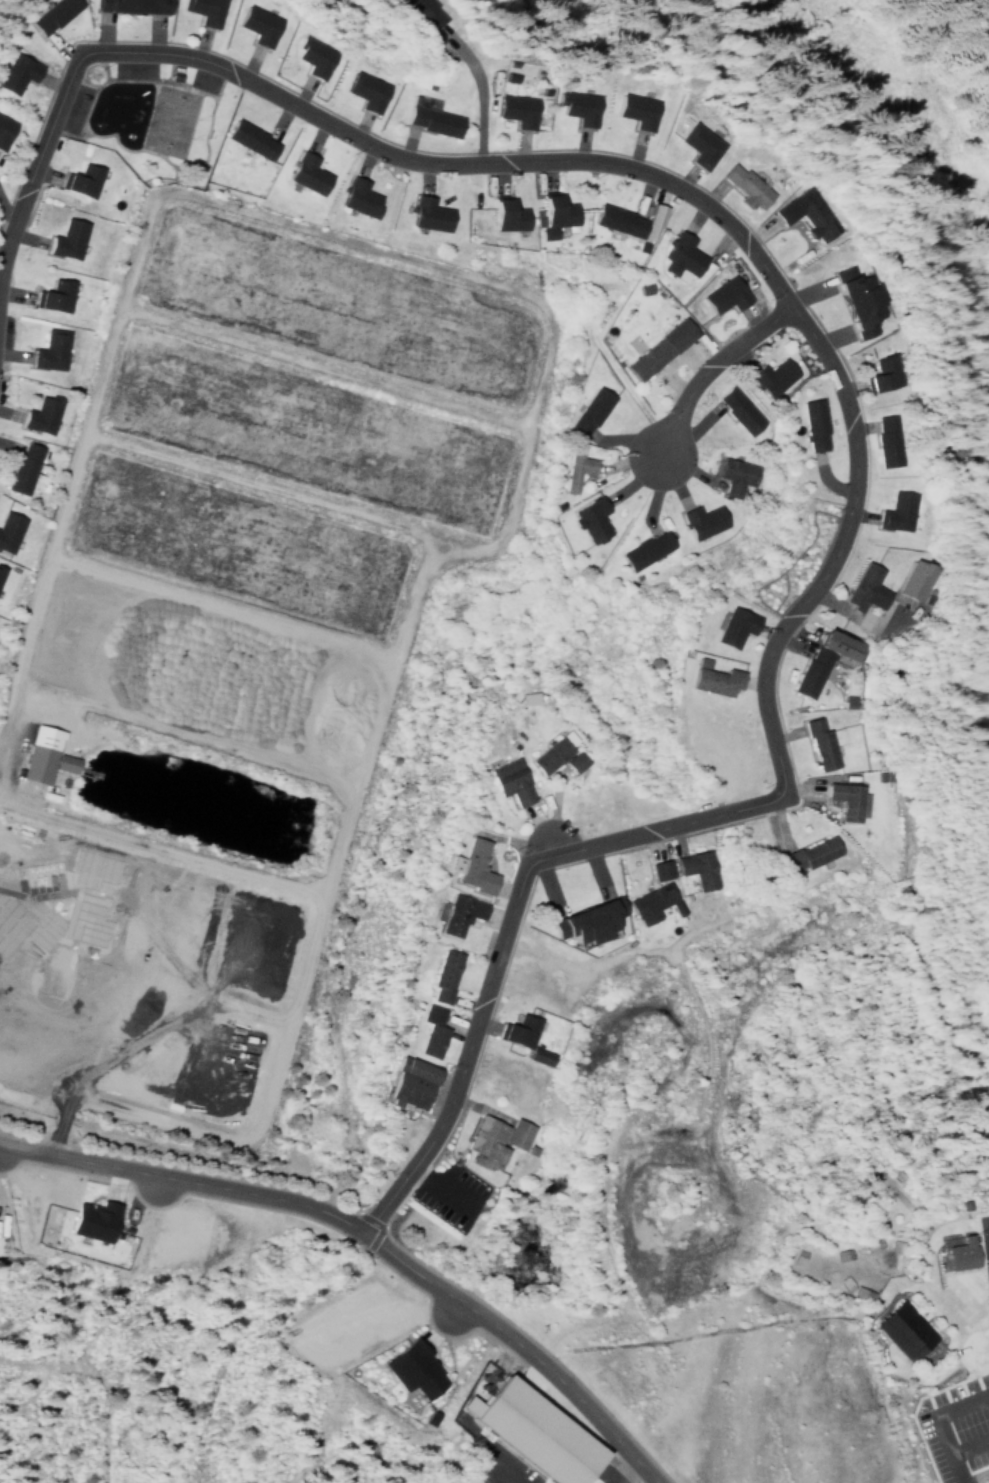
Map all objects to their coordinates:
building: (141, 3)
building: (209, 10)
building: (58, 12)
building: (424, 12)
building: (261, 22)
building: (312, 54)
building: (21, 69)
building: (362, 88)
building: (576, 105)
building: (511, 107)
building: (636, 108)
building: (427, 118)
building: (5, 128)
building: (245, 137)
building: (699, 143)
building: (302, 171)
building: (82, 177)
building: (744, 182)
building: (353, 195)
building: (553, 209)
building: (424, 211)
building: (808, 212)
building: (503, 213)
building: (612, 218)
building: (67, 236)
building: (675, 253)
building: (55, 292)
building: (719, 293)
building: (859, 296)
building: (49, 346)
building: (654, 346)
road: (692, 362)
building: (883, 371)
building: (767, 374)
road: (838, 388)
building: (586, 407)
building: (733, 407)
building: (39, 413)
building: (810, 421)
building: (885, 438)
building: (22, 465)
building: (571, 465)
building: (729, 472)
building: (895, 508)
building: (587, 516)
building: (698, 517)
building: (8, 527)
building: (641, 546)
building: (1, 567)
building: (909, 581)
building: (863, 585)
building: (734, 623)
building: (810, 668)
building: (715, 677)
building: (817, 739)
building: (549, 751)
building: (574, 758)
building: (61, 762)
building: (34, 763)
building: (510, 777)
building: (842, 795)
building: (810, 849)
building: (472, 862)
building: (696, 864)
building: (656, 869)
building: (648, 900)
building: (459, 909)
building: (589, 917)
building: (443, 971)
road: (930, 1007)
building: (431, 1027)
building: (519, 1027)
building: (535, 1055)
building: (411, 1079)
building: (516, 1136)
building: (485, 1138)
building: (98, 1223)
road: (367, 1236)
building: (958, 1253)
building: (838, 1254)
building: (902, 1329)
building: (410, 1368)
building: (527, 1432)

